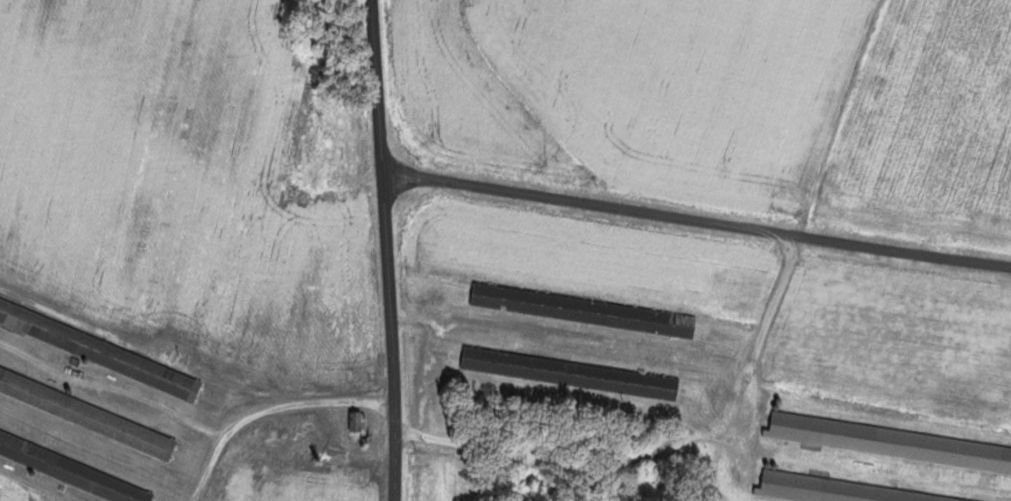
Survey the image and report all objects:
road: (696, 219)
road: (387, 250)
building: (586, 310)
building: (101, 350)
building: (573, 373)
road: (270, 411)
building: (87, 413)
building: (891, 442)
road: (661, 451)
building: (74, 470)
road: (27, 483)
building: (826, 489)
building: (943, 498)

